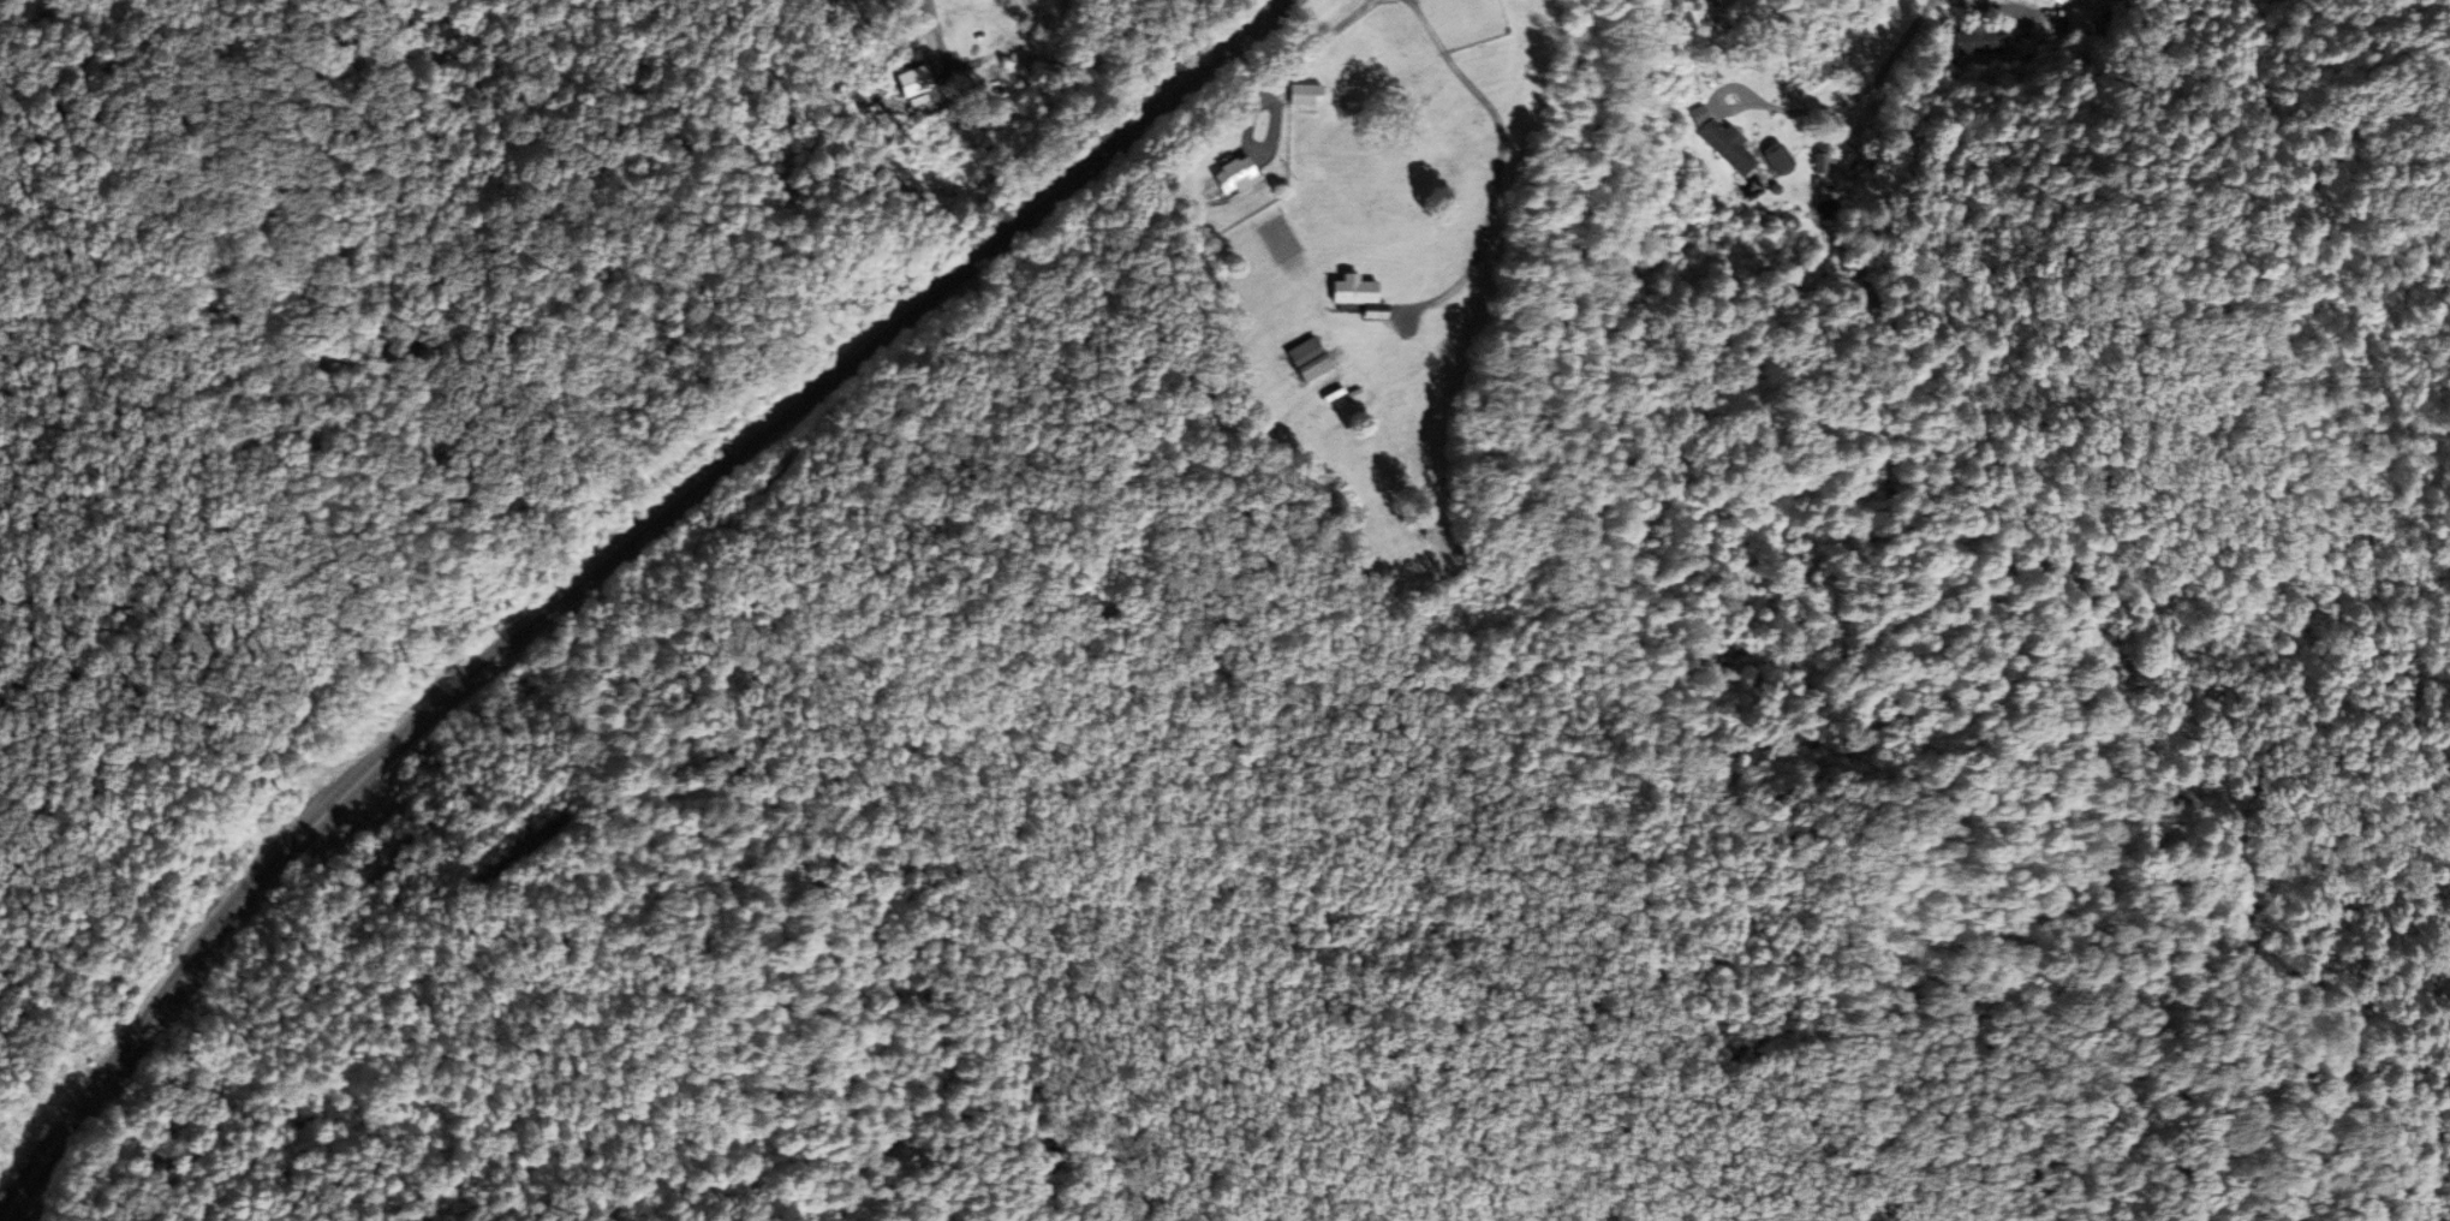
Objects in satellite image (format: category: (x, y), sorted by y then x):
building: (2055, 1)
building: (1705, 4)
building: (1456, 22)
building: (1977, 40)
road: (1901, 49)
building: (1307, 94)
building: (1729, 144)
building: (1781, 159)
building: (1238, 174)
building: (1312, 359)
railway: (596, 564)

